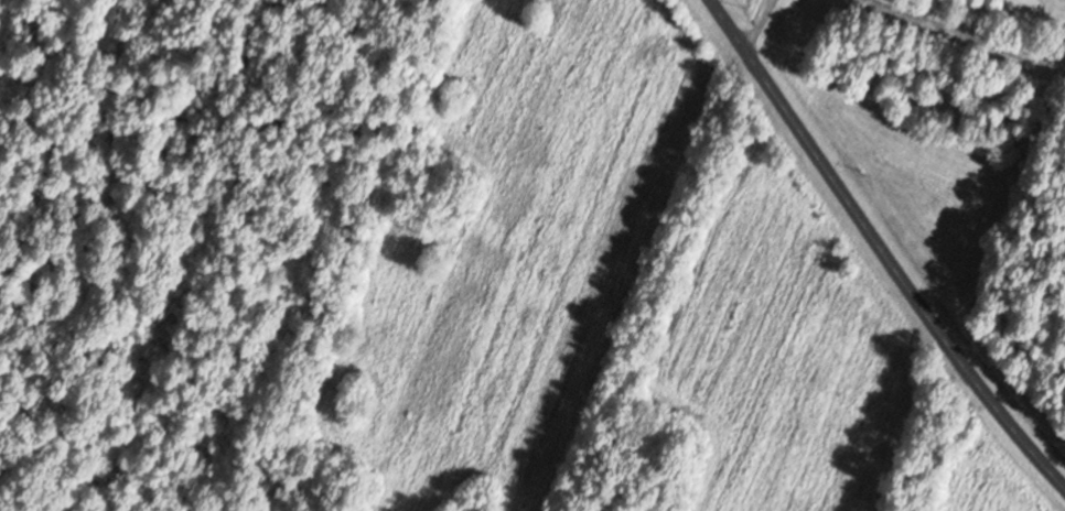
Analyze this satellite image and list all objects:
road: (733, 22)
road: (759, 22)
road: (968, 34)
road: (56, 143)
road: (342, 255)
road: (897, 270)
road: (669, 278)
road: (1001, 323)
road: (958, 447)

